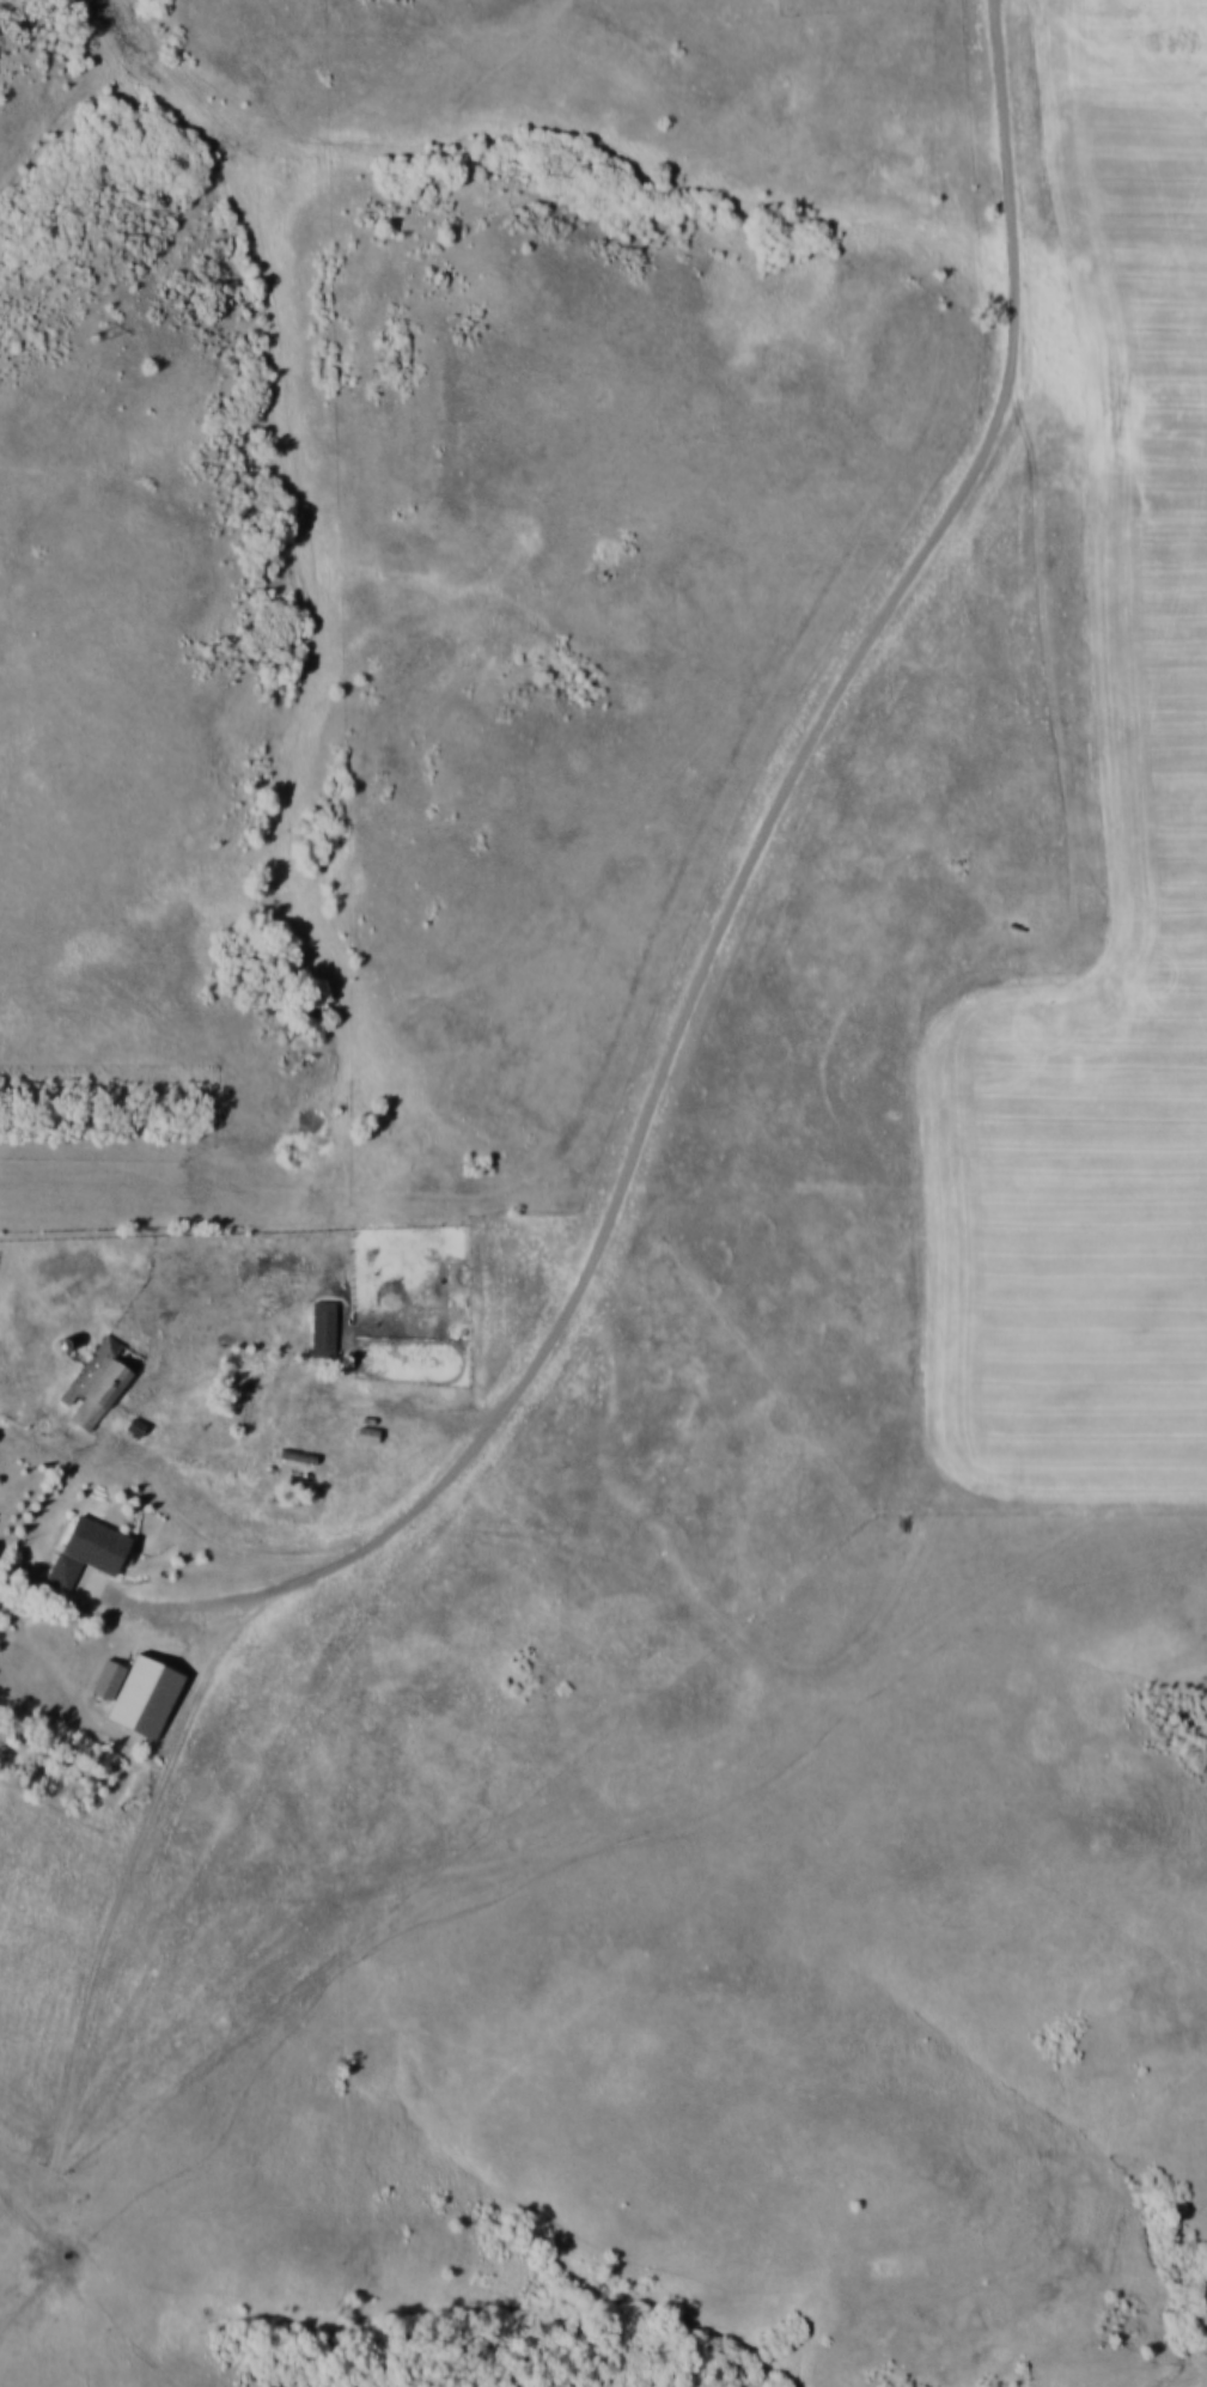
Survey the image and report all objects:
power tower: (97, 340)
road: (889, 609)
road: (373, 1193)
building: (323, 1327)
building: (98, 1380)
building: (135, 1426)
building: (87, 1549)
road: (360, 1551)
building: (138, 1692)
road: (205, 1717)

